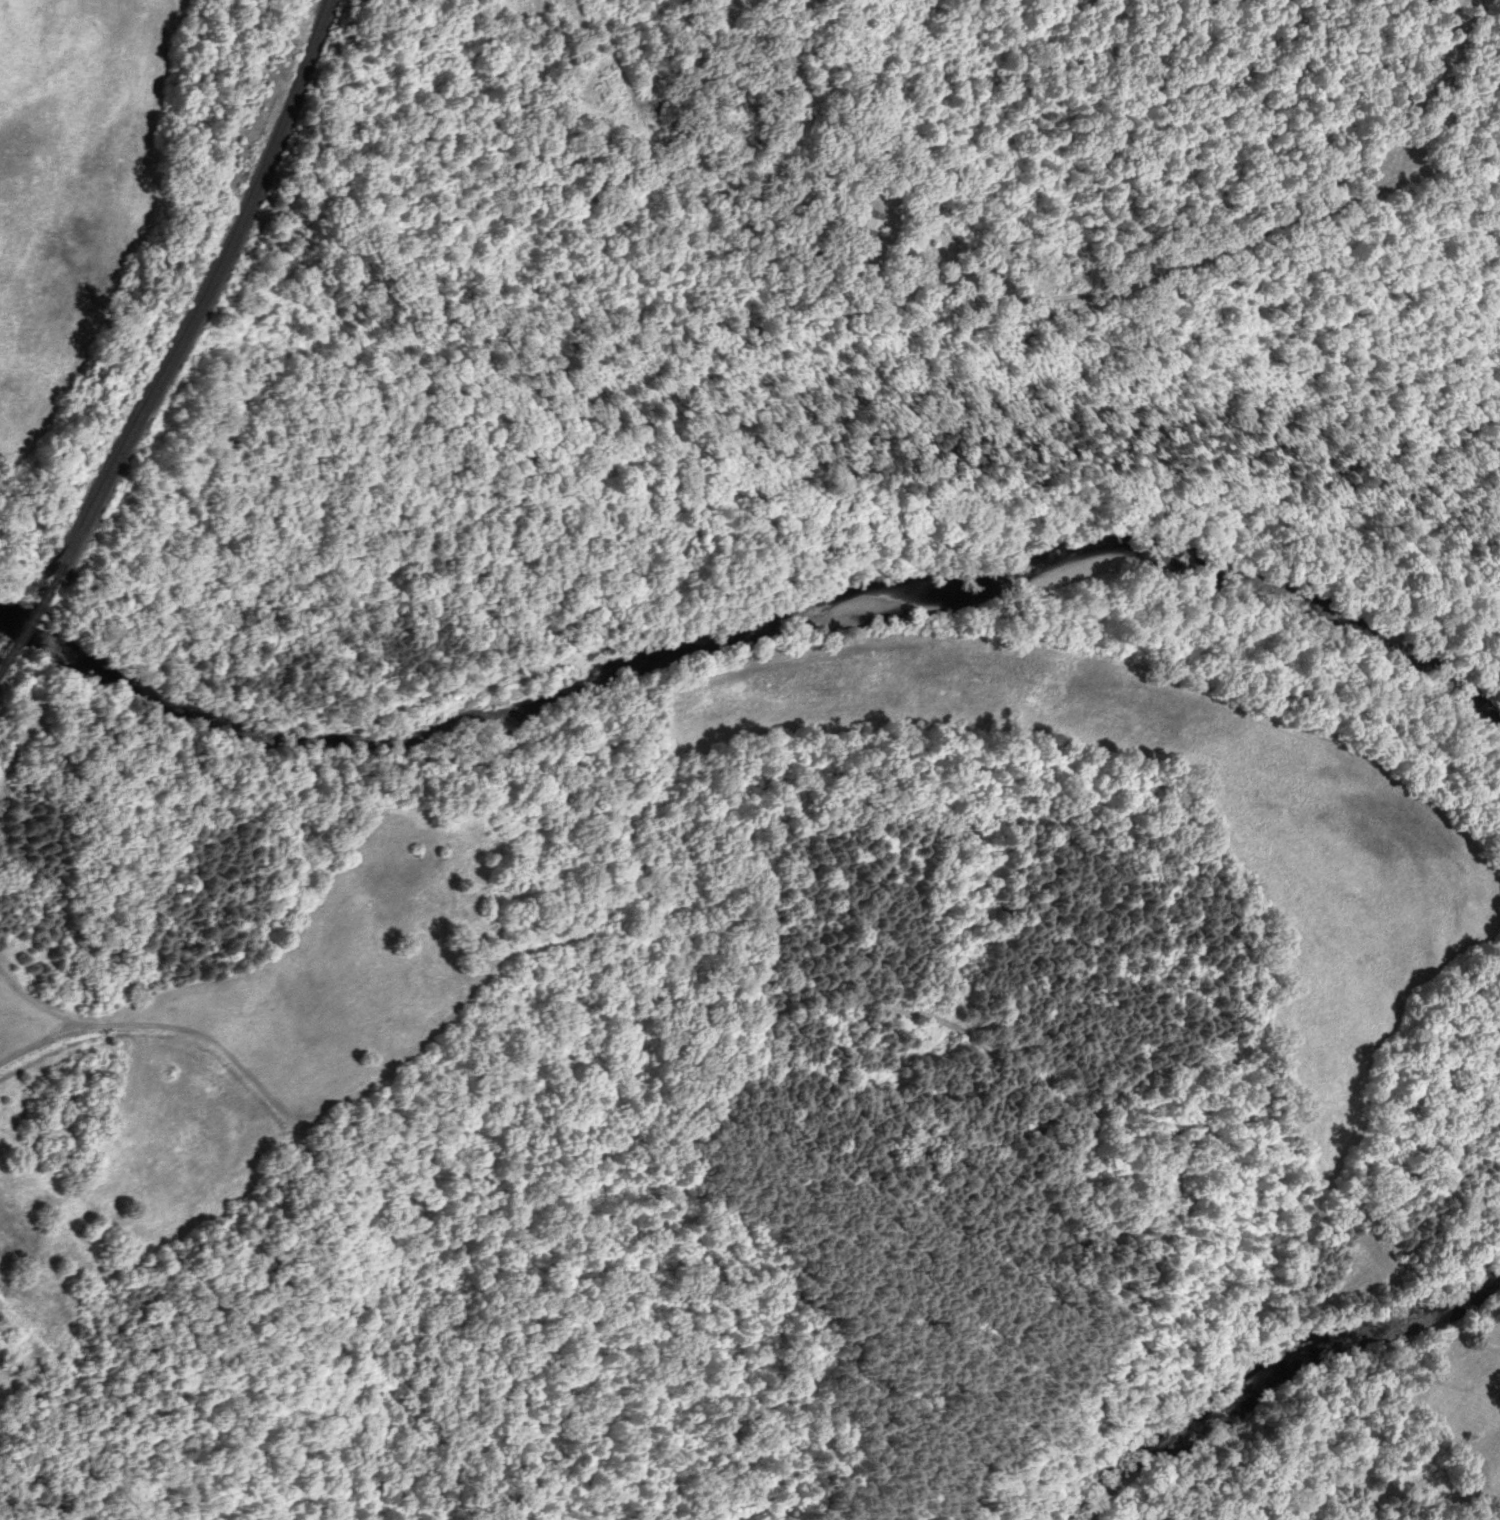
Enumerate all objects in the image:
road: (1415, 74)
building: (854, 222)
railway: (207, 282)
railway: (32, 608)
road: (21, 727)

